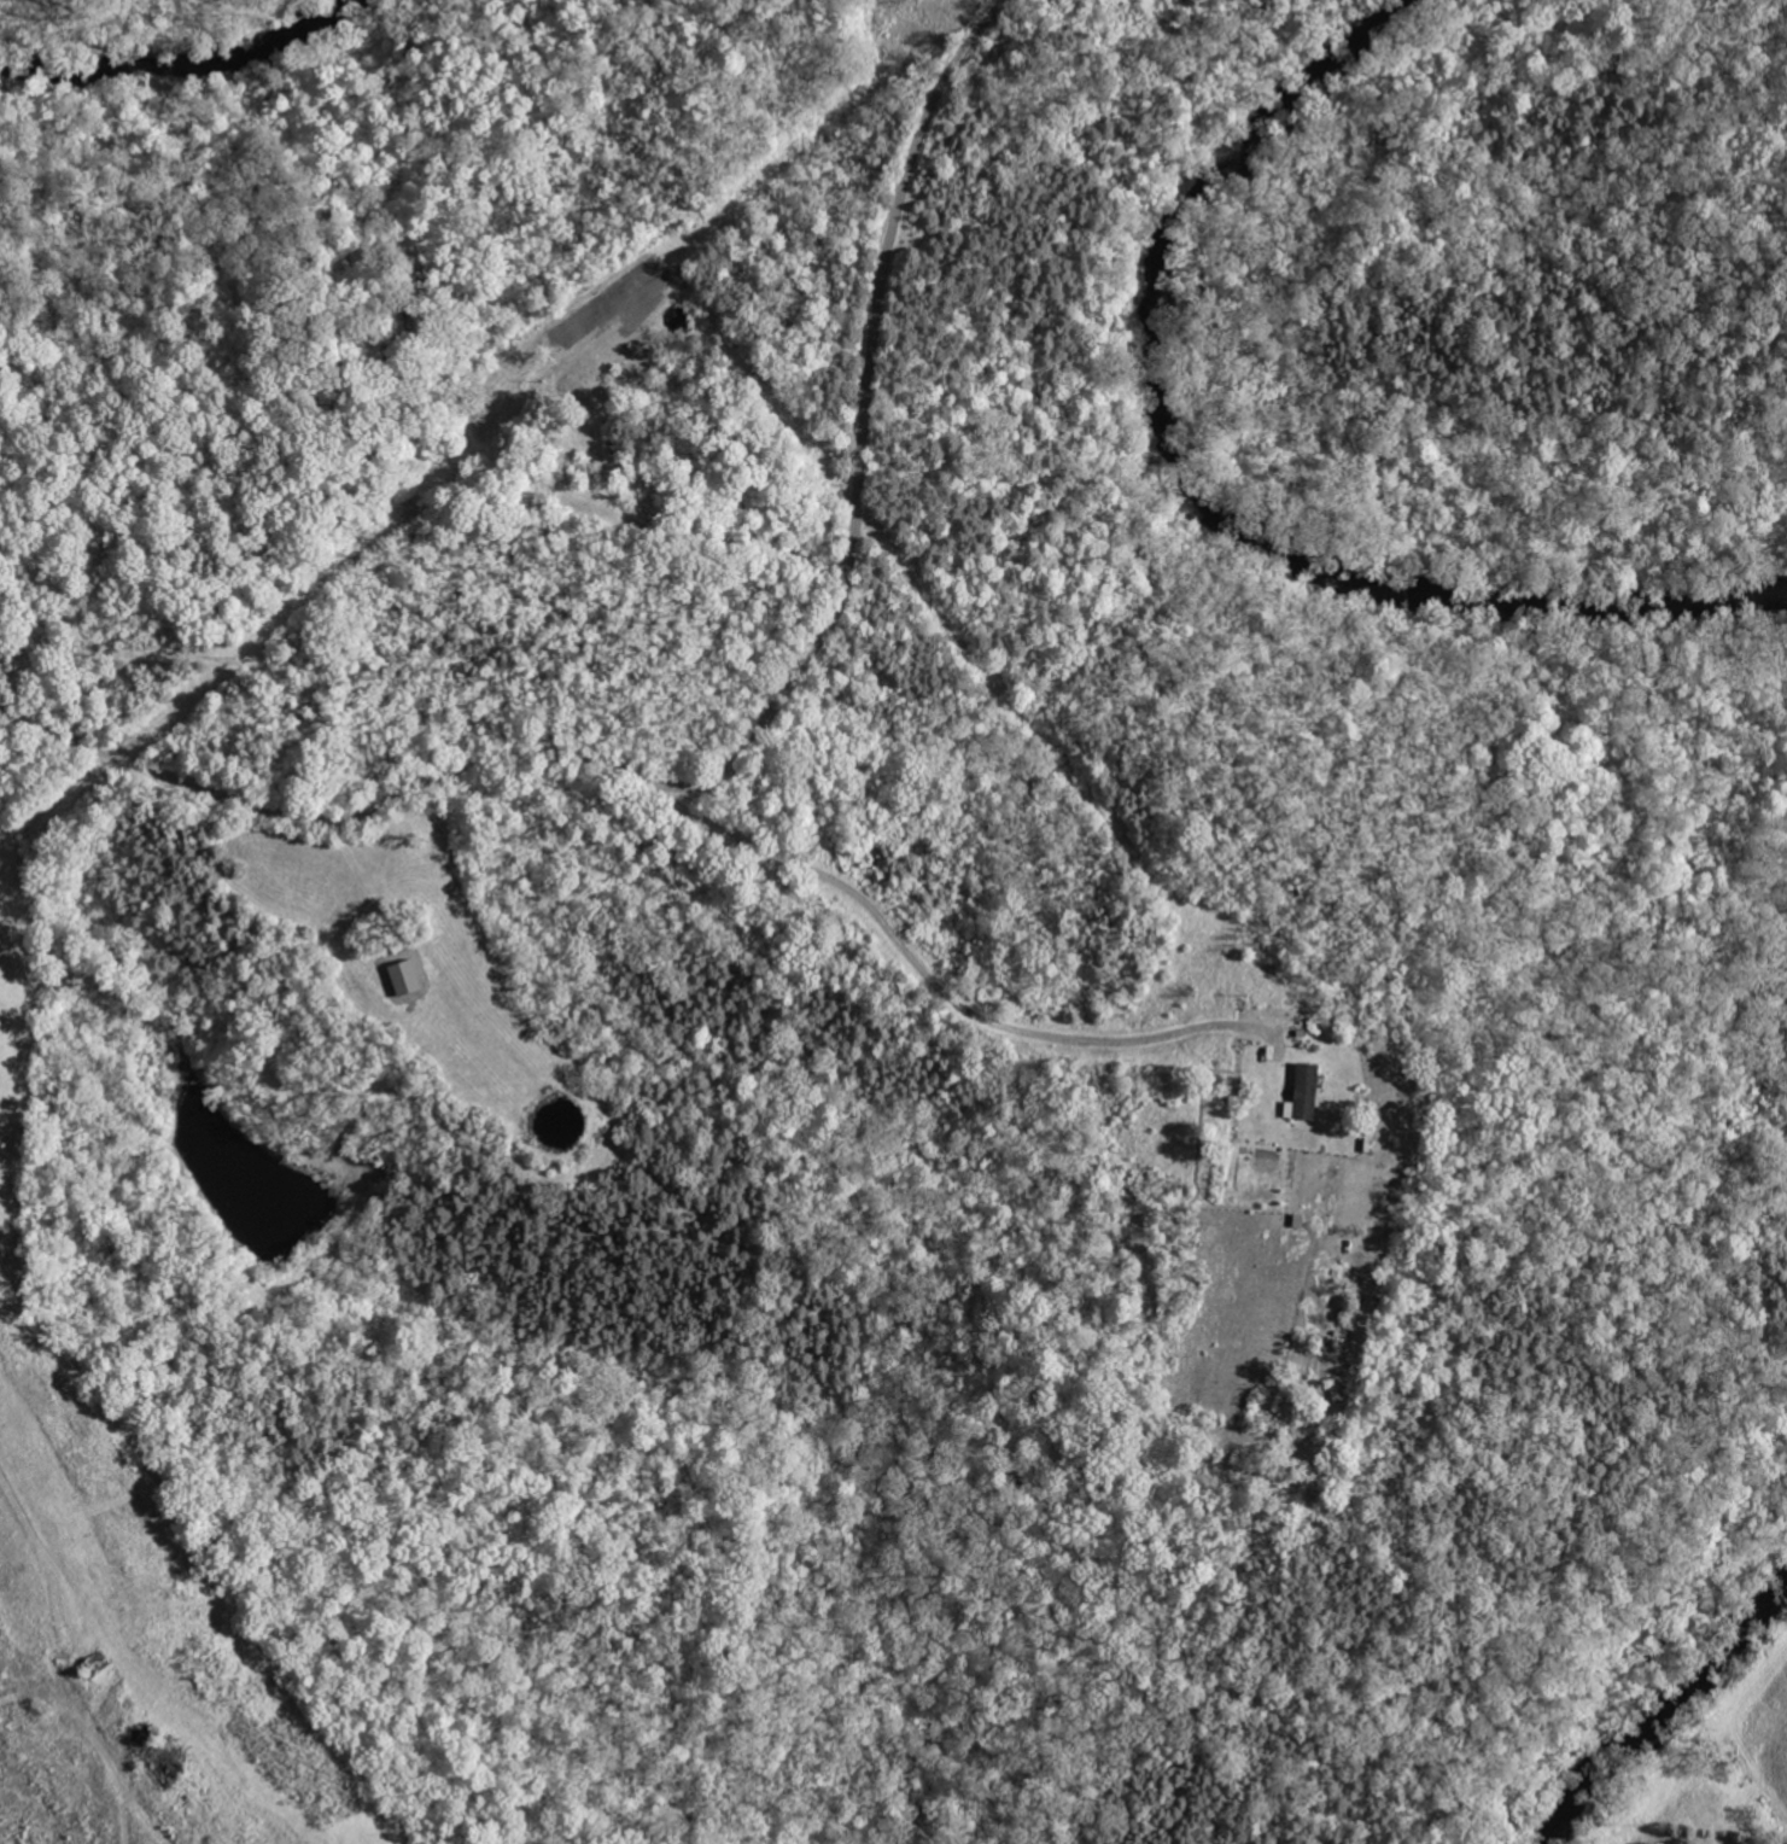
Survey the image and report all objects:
road: (997, 6)
road: (865, 410)
road: (427, 781)
road: (859, 859)
building: (410, 976)
building: (1308, 1093)

